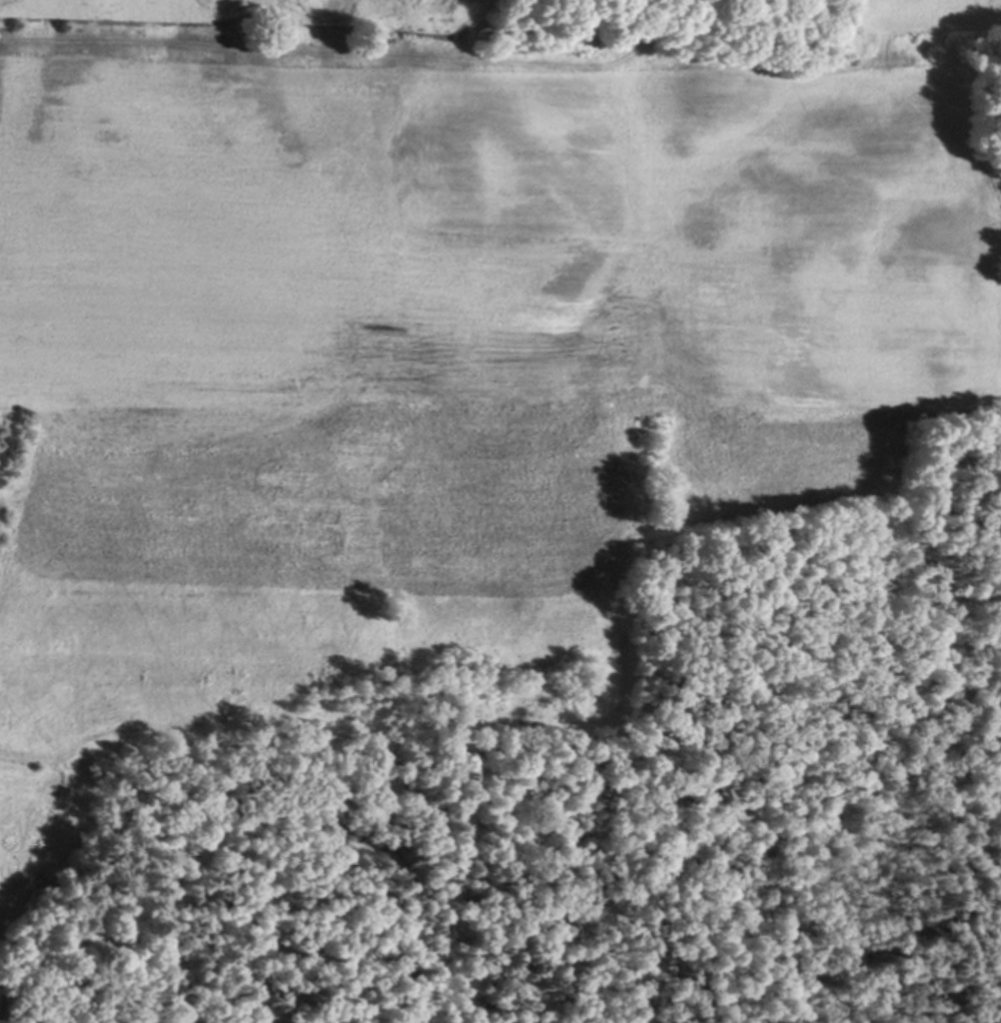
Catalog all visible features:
building: (12, 838)

